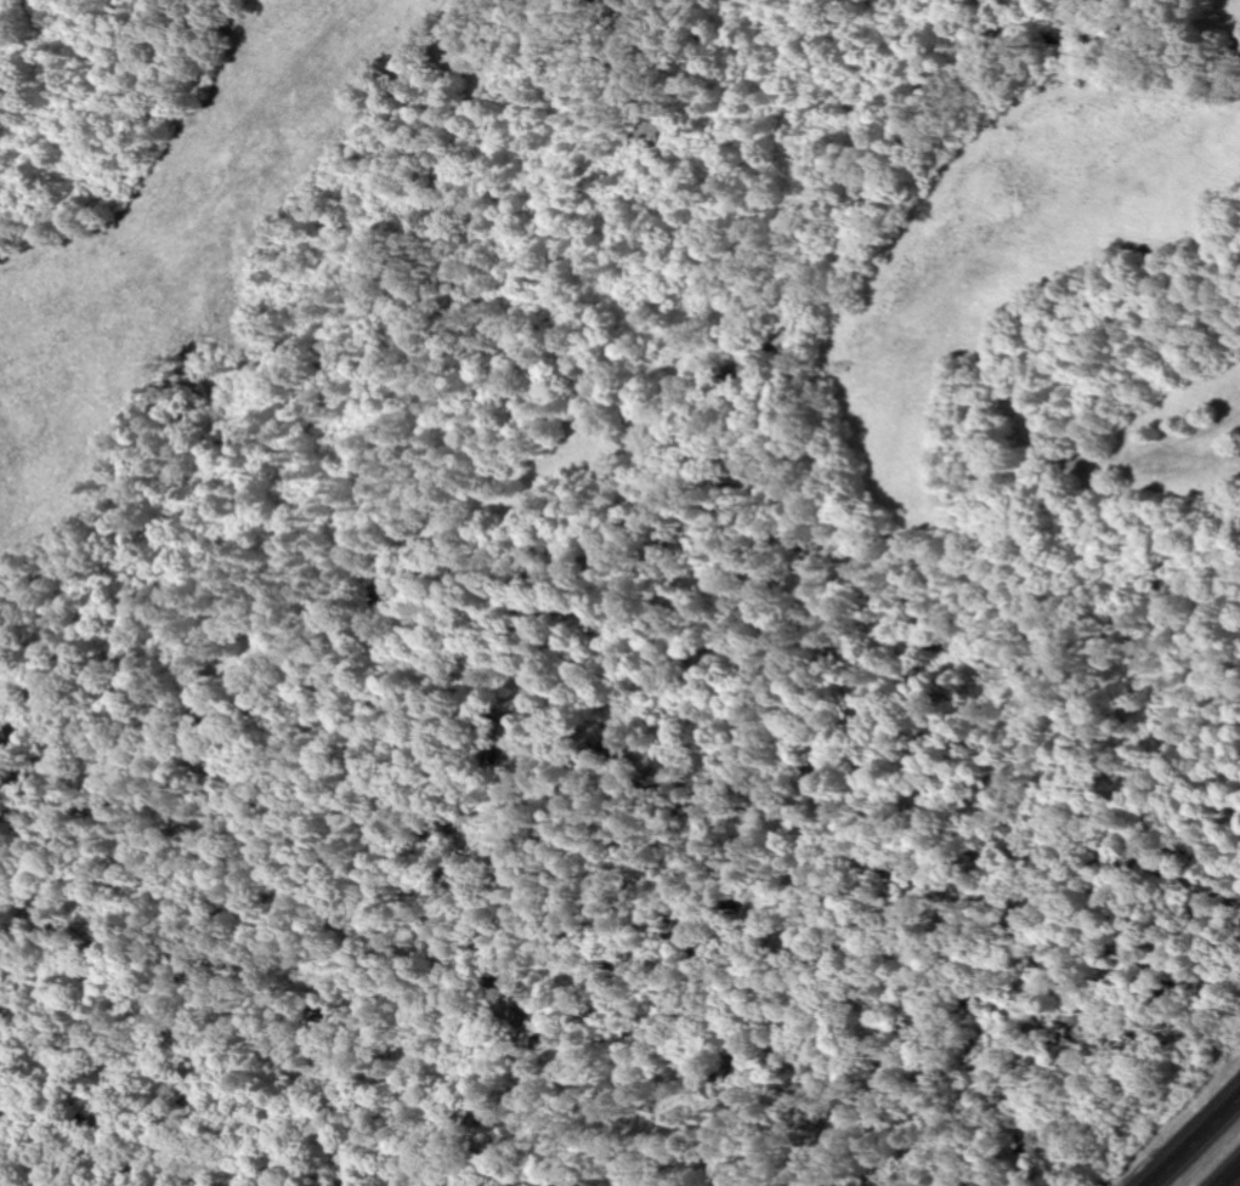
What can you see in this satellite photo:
road: (1233, 8)
road: (1191, 1139)
road: (1227, 1173)

